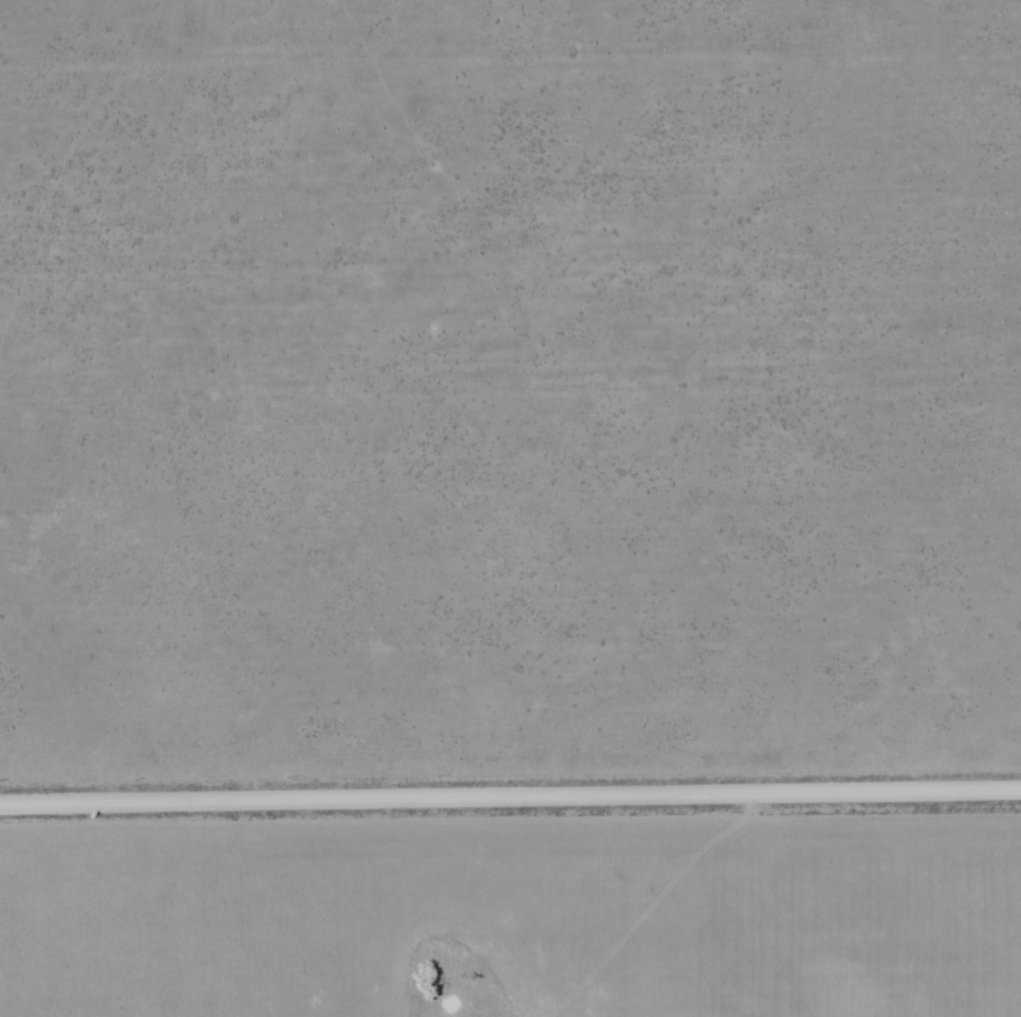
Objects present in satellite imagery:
road: (510, 802)

